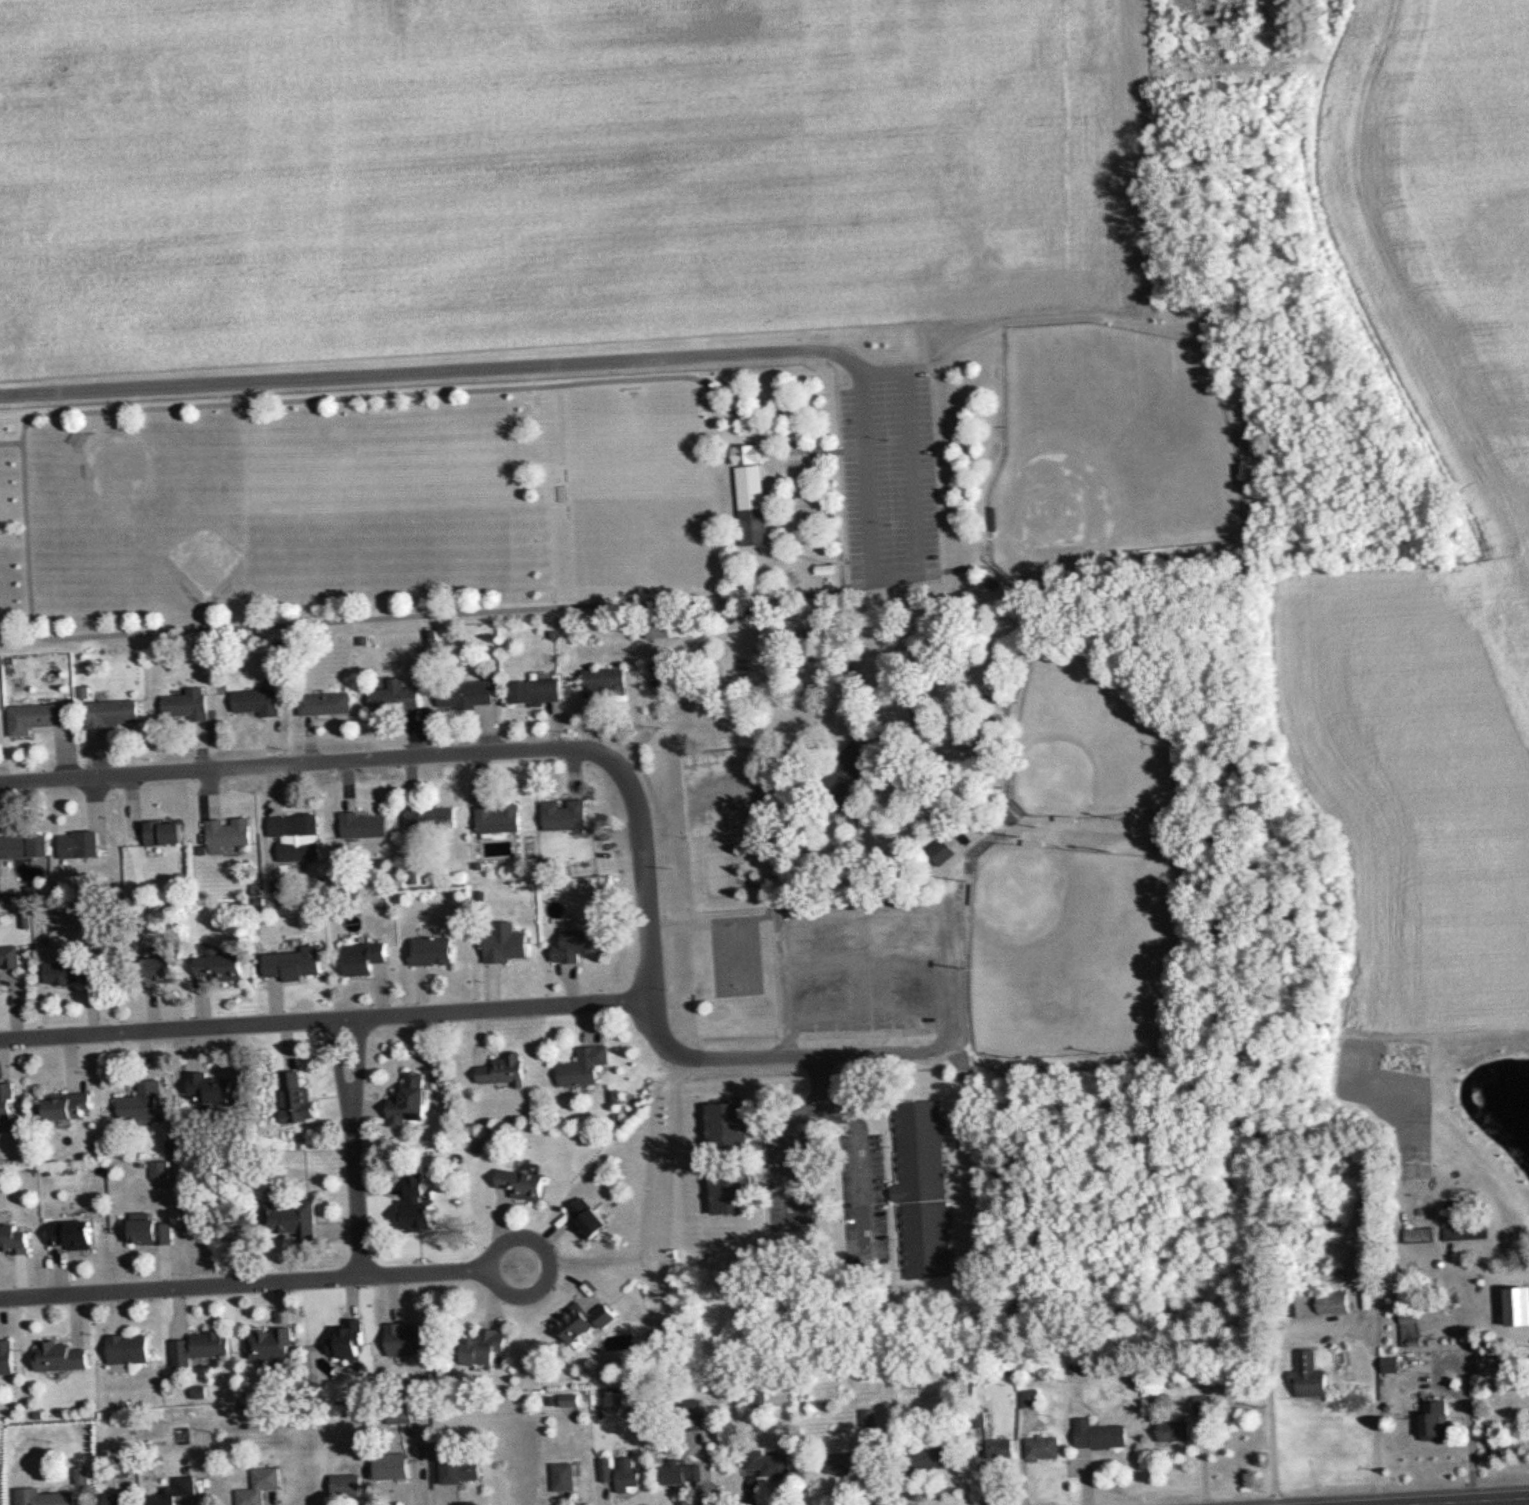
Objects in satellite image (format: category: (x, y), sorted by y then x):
road: (534, 366)
park: (1125, 436)
road: (809, 456)
parking lot: (888, 472)
park: (131, 473)
park: (348, 473)
park: (246, 477)
park: (617, 482)
park: (448, 490)
building: (756, 526)
road: (1023, 547)
road: (995, 556)
road: (755, 599)
road: (776, 619)
building: (669, 629)
park: (799, 630)
road: (1000, 630)
building: (606, 680)
building: (538, 690)
building: (468, 694)
building: (396, 696)
building: (258, 700)
building: (326, 702)
building: (188, 704)
building: (115, 712)
building: (38, 716)
park: (1091, 741)
road: (309, 765)
road: (844, 772)
building: (567, 813)
building: (432, 818)
building: (500, 818)
building: (365, 824)
building: (165, 832)
building: (229, 833)
building: (298, 836)
building: (43, 844)
building: (81, 844)
building: (16, 846)
building: (944, 851)
building: (581, 943)
building: (508, 947)
building: (434, 950)
park: (735, 956)
building: (10, 957)
building: (366, 957)
park: (1078, 957)
building: (295, 963)
parking lot: (871, 965)
building: (223, 966)
building: (164, 967)
building: (61, 973)
road: (325, 1022)
road: (671, 1050)
building: (587, 1067)
building: (503, 1071)
building: (216, 1087)
building: (7, 1101)
building: (142, 1101)
building: (412, 1101)
building: (68, 1105)
building: (308, 1105)
building: (731, 1123)
road: (788, 1129)
road: (354, 1150)
road: (862, 1156)
building: (158, 1170)
building: (524, 1183)
building: (925, 1188)
building: (734, 1189)
building: (420, 1206)
building: (295, 1214)
building: (591, 1218)
building: (153, 1231)
building: (1470, 1231)
building: (1424, 1234)
building: (73, 1235)
building: (16, 1239)
road: (549, 1263)
road: (424, 1274)
road: (180, 1289)
building: (1330, 1303)
building: (1522, 1305)
building: (585, 1322)
building: (410, 1339)
building: (351, 1342)
building: (270, 1344)
building: (199, 1347)
building: (129, 1348)
building: (488, 1348)
building: (61, 1357)
building: (7, 1358)
building: (1393, 1364)
building: (1312, 1375)
building: (1031, 1398)
road: (1371, 1405)
building: (1439, 1417)
building: (1178, 1432)
building: (1100, 1434)
building: (1043, 1448)
building: (1001, 1449)
building: (934, 1456)
building: (848, 1460)
building: (771, 1463)
building: (393, 1466)
building: (606, 1469)
building: (463, 1470)
building: (683, 1472)
building: (629, 1474)
building: (564, 1476)
building: (260, 1486)
building: (346, 1486)
building: (174, 1493)
building: (45, 1497)
building: (115, 1498)
road: (1478, 1502)

